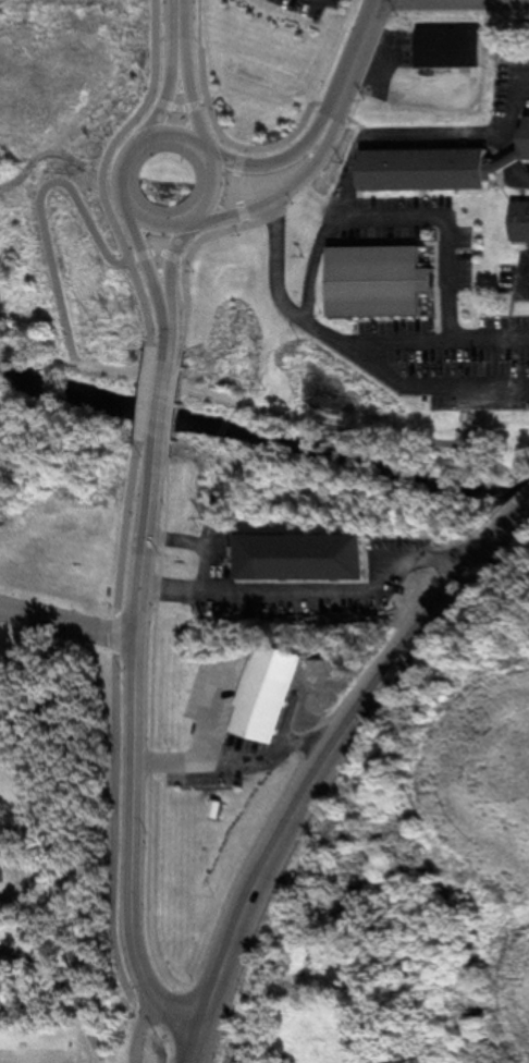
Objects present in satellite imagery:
road: (332, 1)
parking lot: (312, 8)
road: (184, 19)
road: (172, 41)
road: (195, 42)
building: (452, 49)
road: (354, 61)
road: (172, 90)
road: (196, 97)
road: (184, 110)
road: (227, 136)
building: (524, 143)
road: (282, 162)
road: (112, 170)
building: (430, 170)
road: (223, 172)
road: (241, 187)
road: (286, 194)
road: (45, 215)
building: (525, 221)
road: (453, 231)
road: (155, 255)
road: (197, 256)
road: (177, 260)
park: (24, 281)
building: (381, 281)
road: (303, 318)
road: (174, 325)
road: (37, 357)
road: (472, 383)
road: (152, 393)
road: (169, 396)
road: (360, 435)
road: (512, 527)
road: (200, 547)
building: (306, 558)
road: (317, 597)
road: (69, 625)
building: (0, 656)
building: (270, 693)
road: (115, 733)
road: (133, 756)
road: (234, 759)
road: (320, 770)
crop: (467, 802)
building: (3, 863)
road: (71, 988)
building: (4, 991)
road: (142, 1028)
road: (204, 1050)

